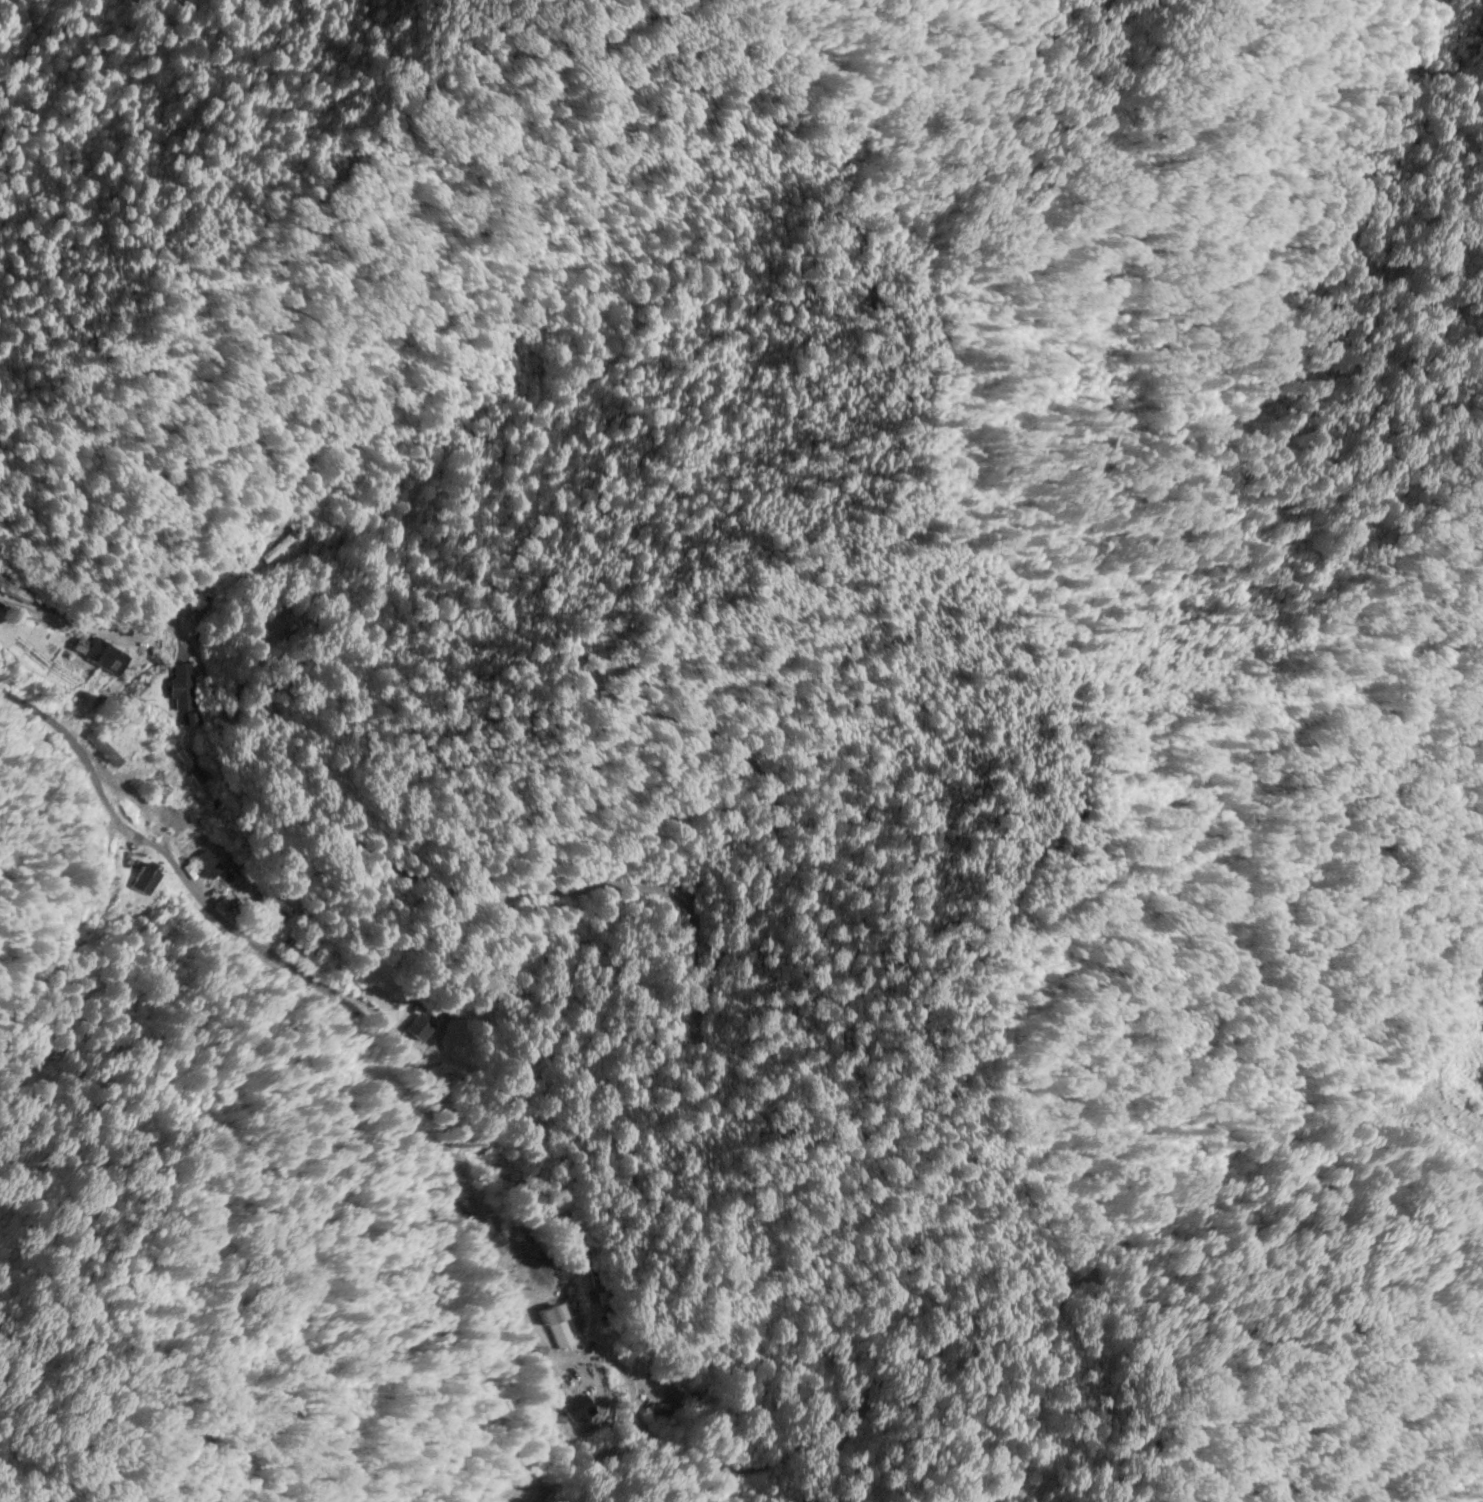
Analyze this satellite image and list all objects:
road: (54, 469)
building: (277, 550)
building: (198, 613)
road: (64, 624)
building: (105, 661)
building: (173, 690)
road: (287, 858)
building: (144, 881)
road: (322, 986)
building: (596, 1390)
building: (651, 1396)
building: (580, 1414)
building: (541, 1497)

